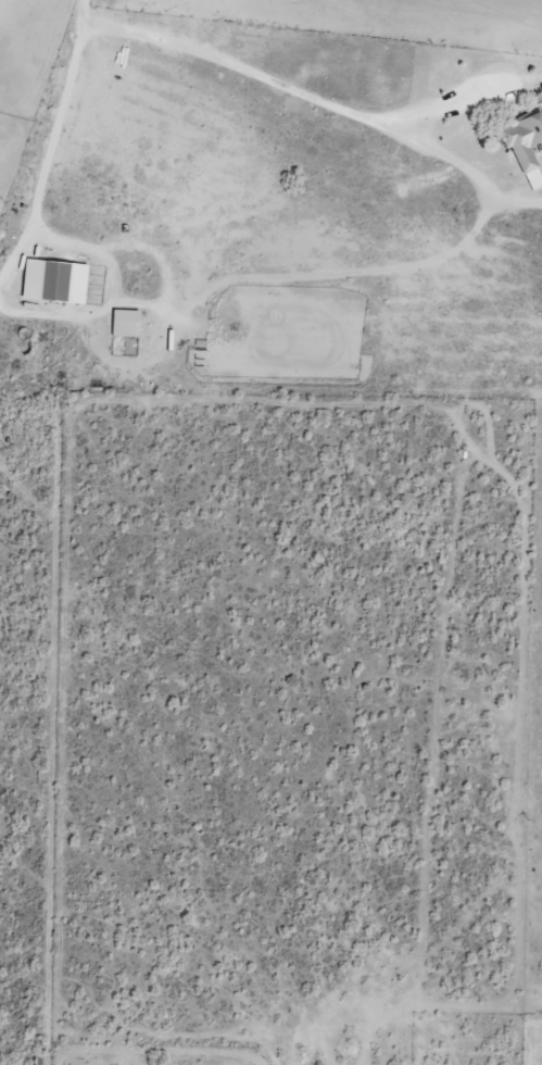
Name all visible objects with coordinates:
building: (524, 145)
building: (52, 280)
building: (124, 323)

